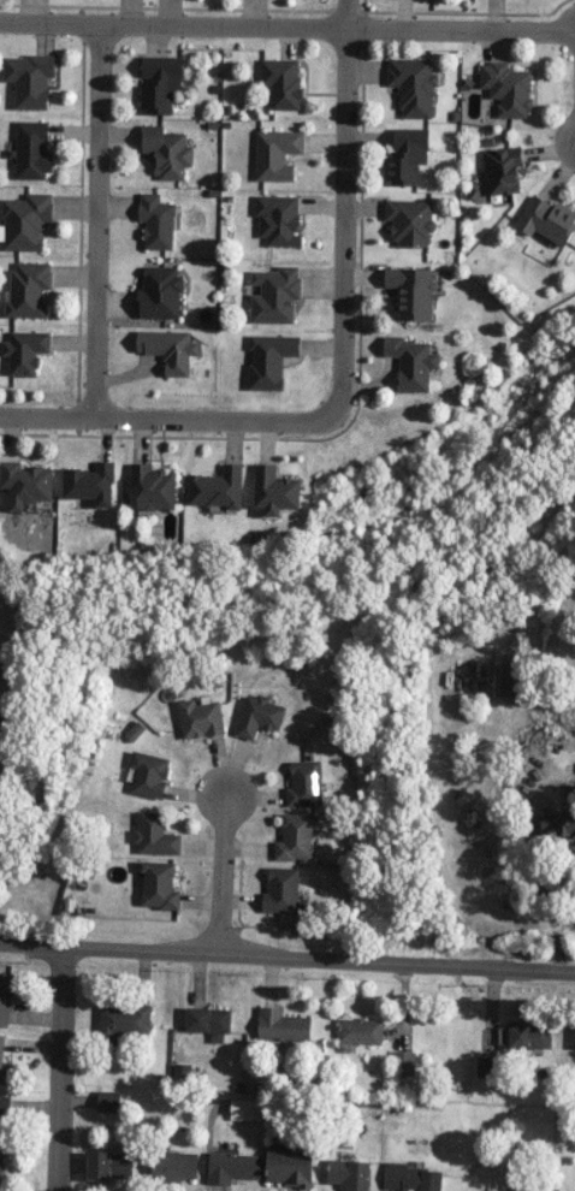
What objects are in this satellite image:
road: (286, 29)
building: (29, 78)
building: (281, 82)
building: (160, 84)
building: (413, 85)
building: (506, 88)
building: (31, 149)
building: (166, 150)
building: (275, 154)
building: (407, 155)
building: (502, 170)
road: (345, 206)
building: (278, 219)
building: (546, 219)
building: (24, 220)
building: (156, 220)
building: (409, 220)
road: (97, 223)
building: (26, 289)
building: (411, 291)
building: (160, 292)
building: (274, 295)
building: (168, 349)
building: (24, 350)
building: (269, 360)
building: (411, 362)
road: (171, 420)
building: (25, 482)
building: (90, 482)
building: (154, 486)
building: (218, 487)
building: (275, 490)
building: (504, 679)
building: (259, 716)
building: (200, 718)
building: (1, 722)
building: (148, 772)
building: (304, 783)
building: (558, 822)
building: (154, 834)
building: (295, 836)
road: (221, 867)
building: (158, 884)
building: (280, 890)
road: (286, 947)
building: (5, 999)
building: (124, 1021)
building: (208, 1021)
building: (281, 1024)
building: (360, 1030)
building: (529, 1035)
building: (1, 1056)
building: (403, 1062)
road: (60, 1063)
building: (485, 1066)
building: (107, 1101)
building: (245, 1108)
building: (4, 1115)
building: (0, 1165)
building: (109, 1165)
building: (289, 1165)
building: (173, 1166)
building: (232, 1166)
building: (348, 1174)
building: (410, 1178)

